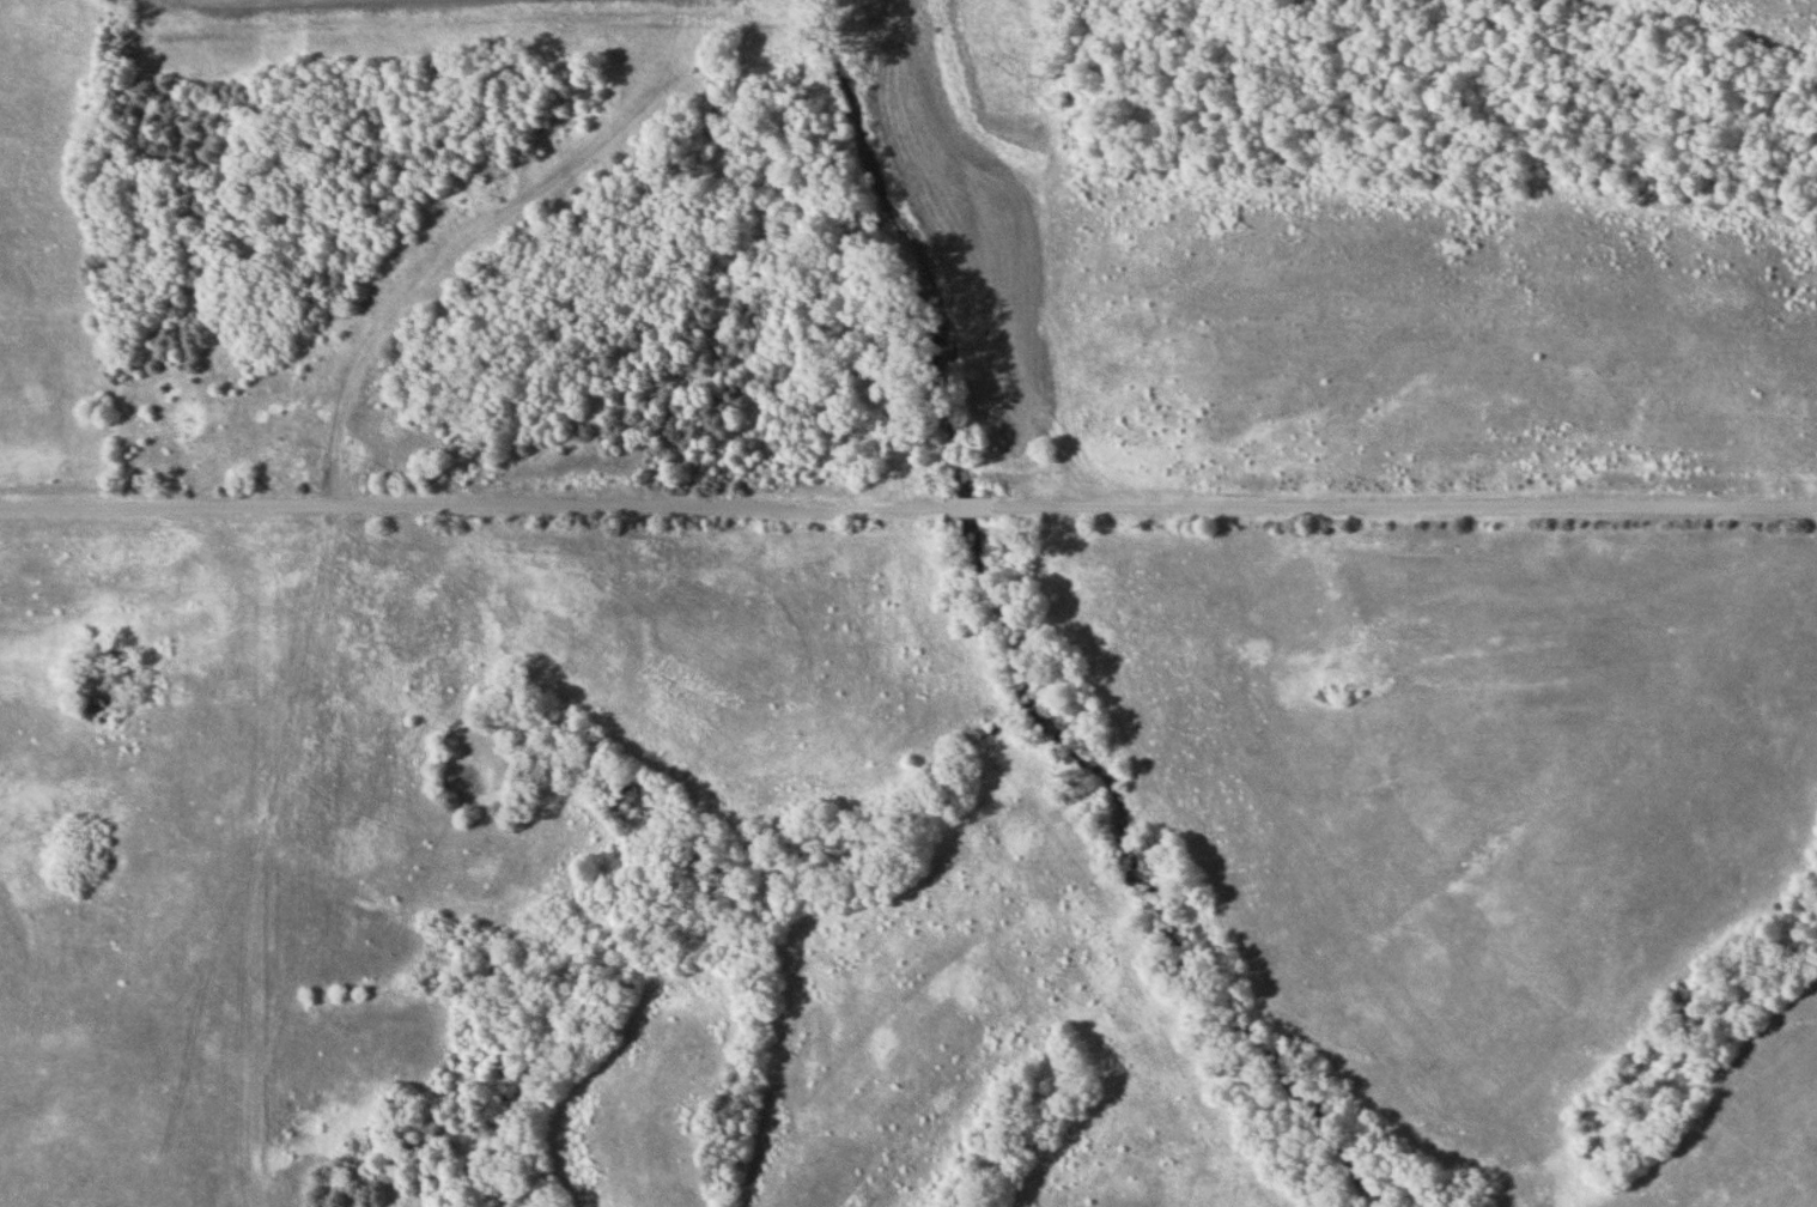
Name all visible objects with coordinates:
road: (907, 505)
building: (972, 509)

